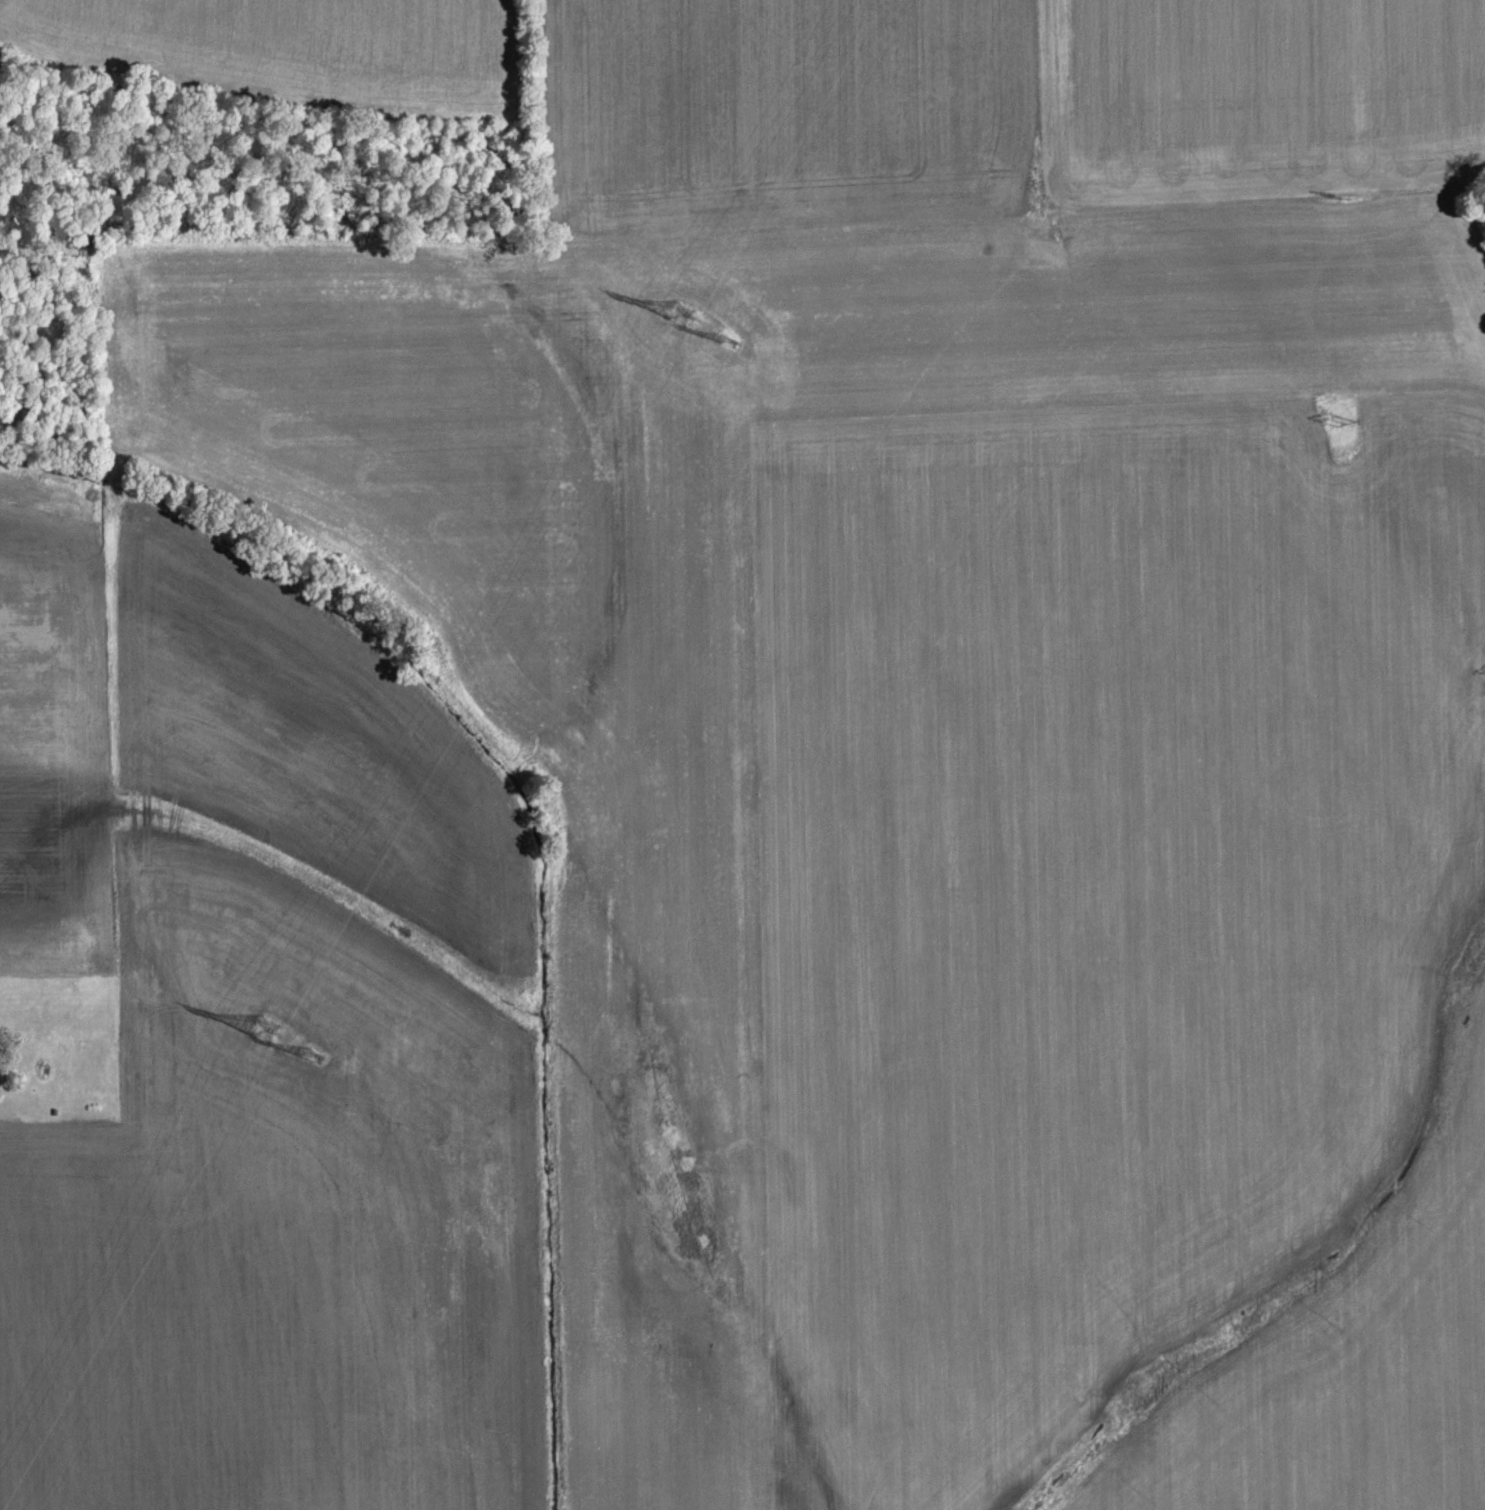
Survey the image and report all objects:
power tower: (682, 315)
power tower: (264, 1029)

